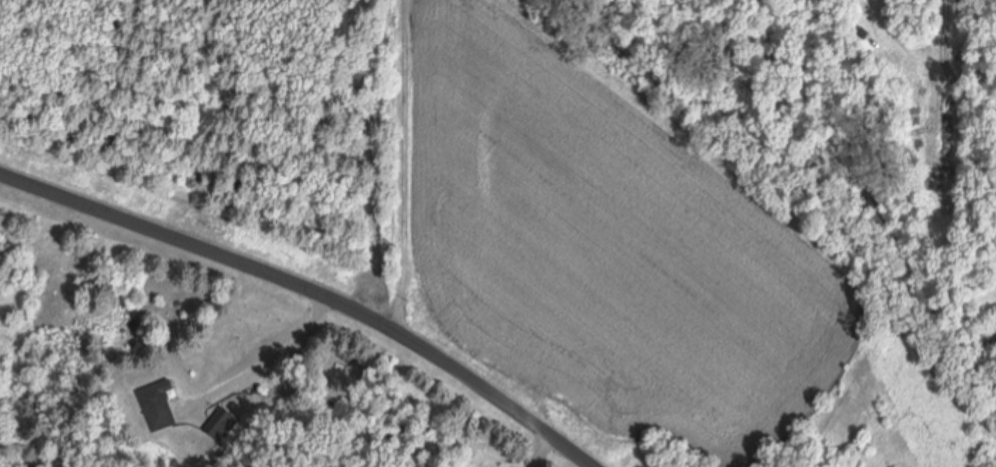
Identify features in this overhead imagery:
road: (311, 296)
building: (157, 407)

